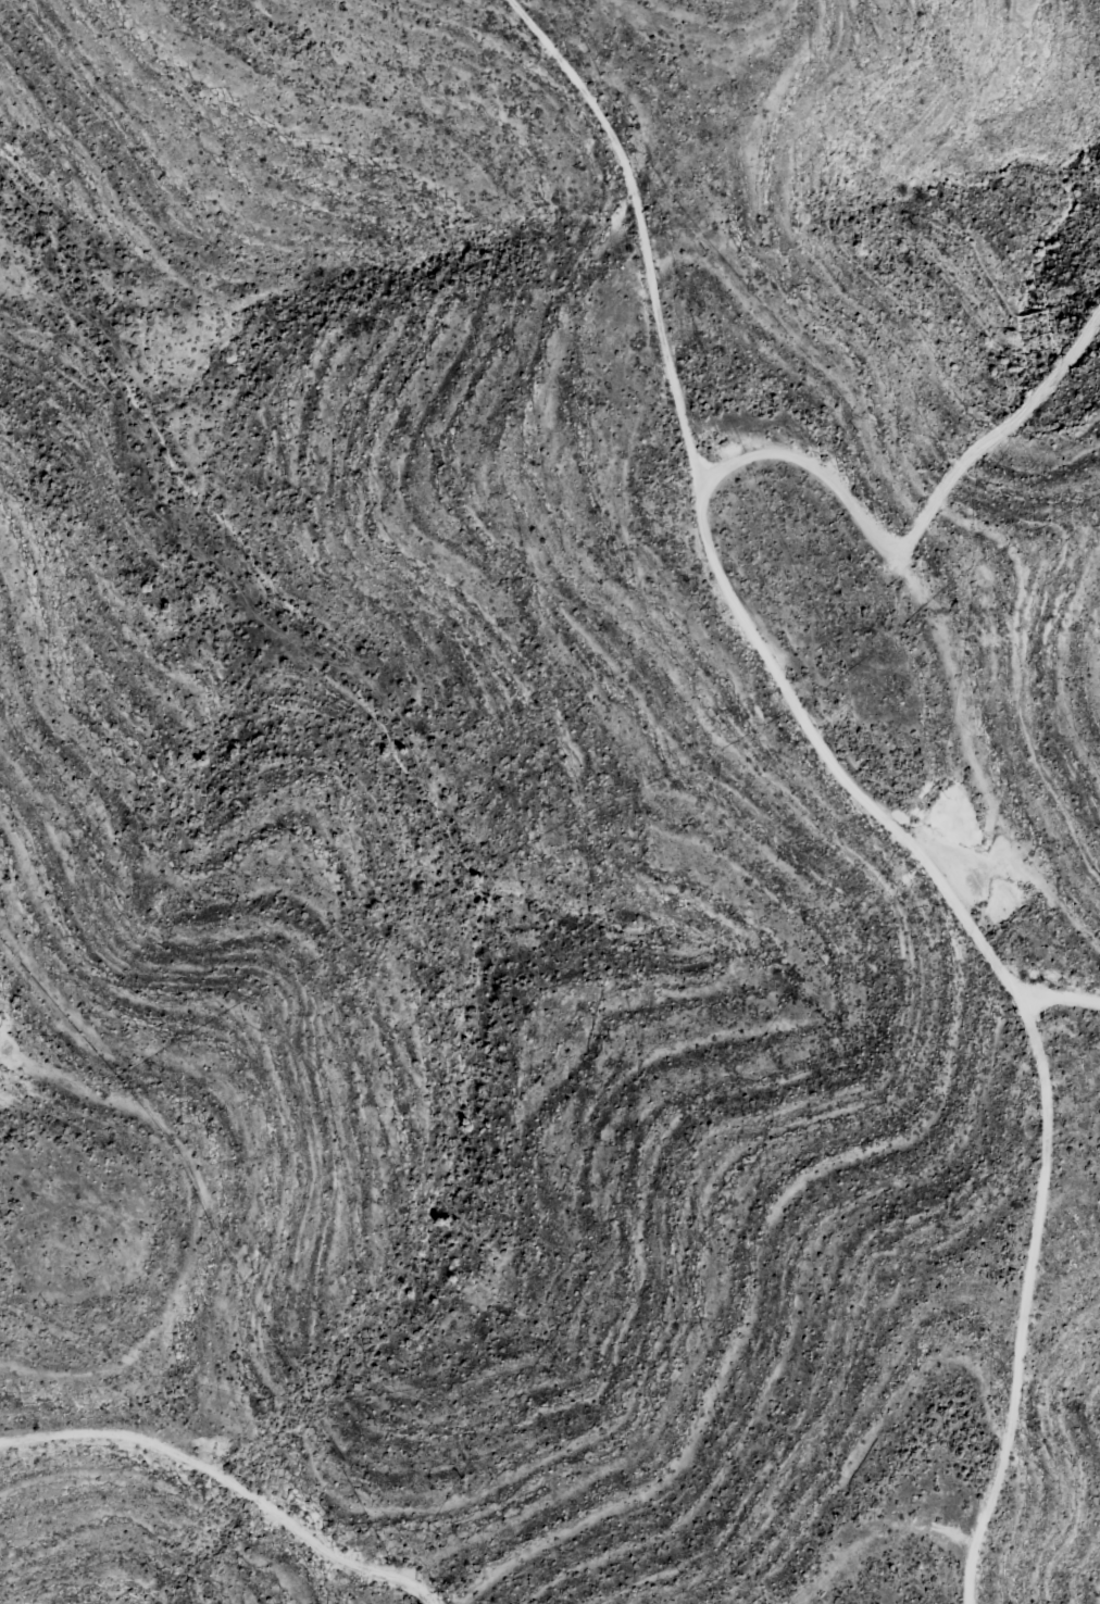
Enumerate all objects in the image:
road: (193, 1516)

